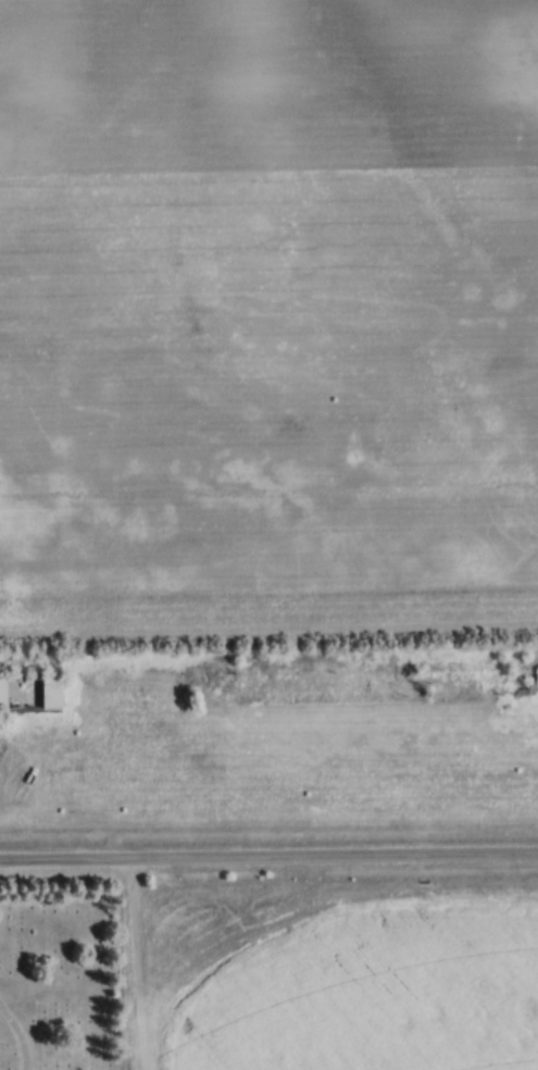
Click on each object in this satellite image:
building: (29, 695)
road: (268, 856)
road: (21, 1034)

